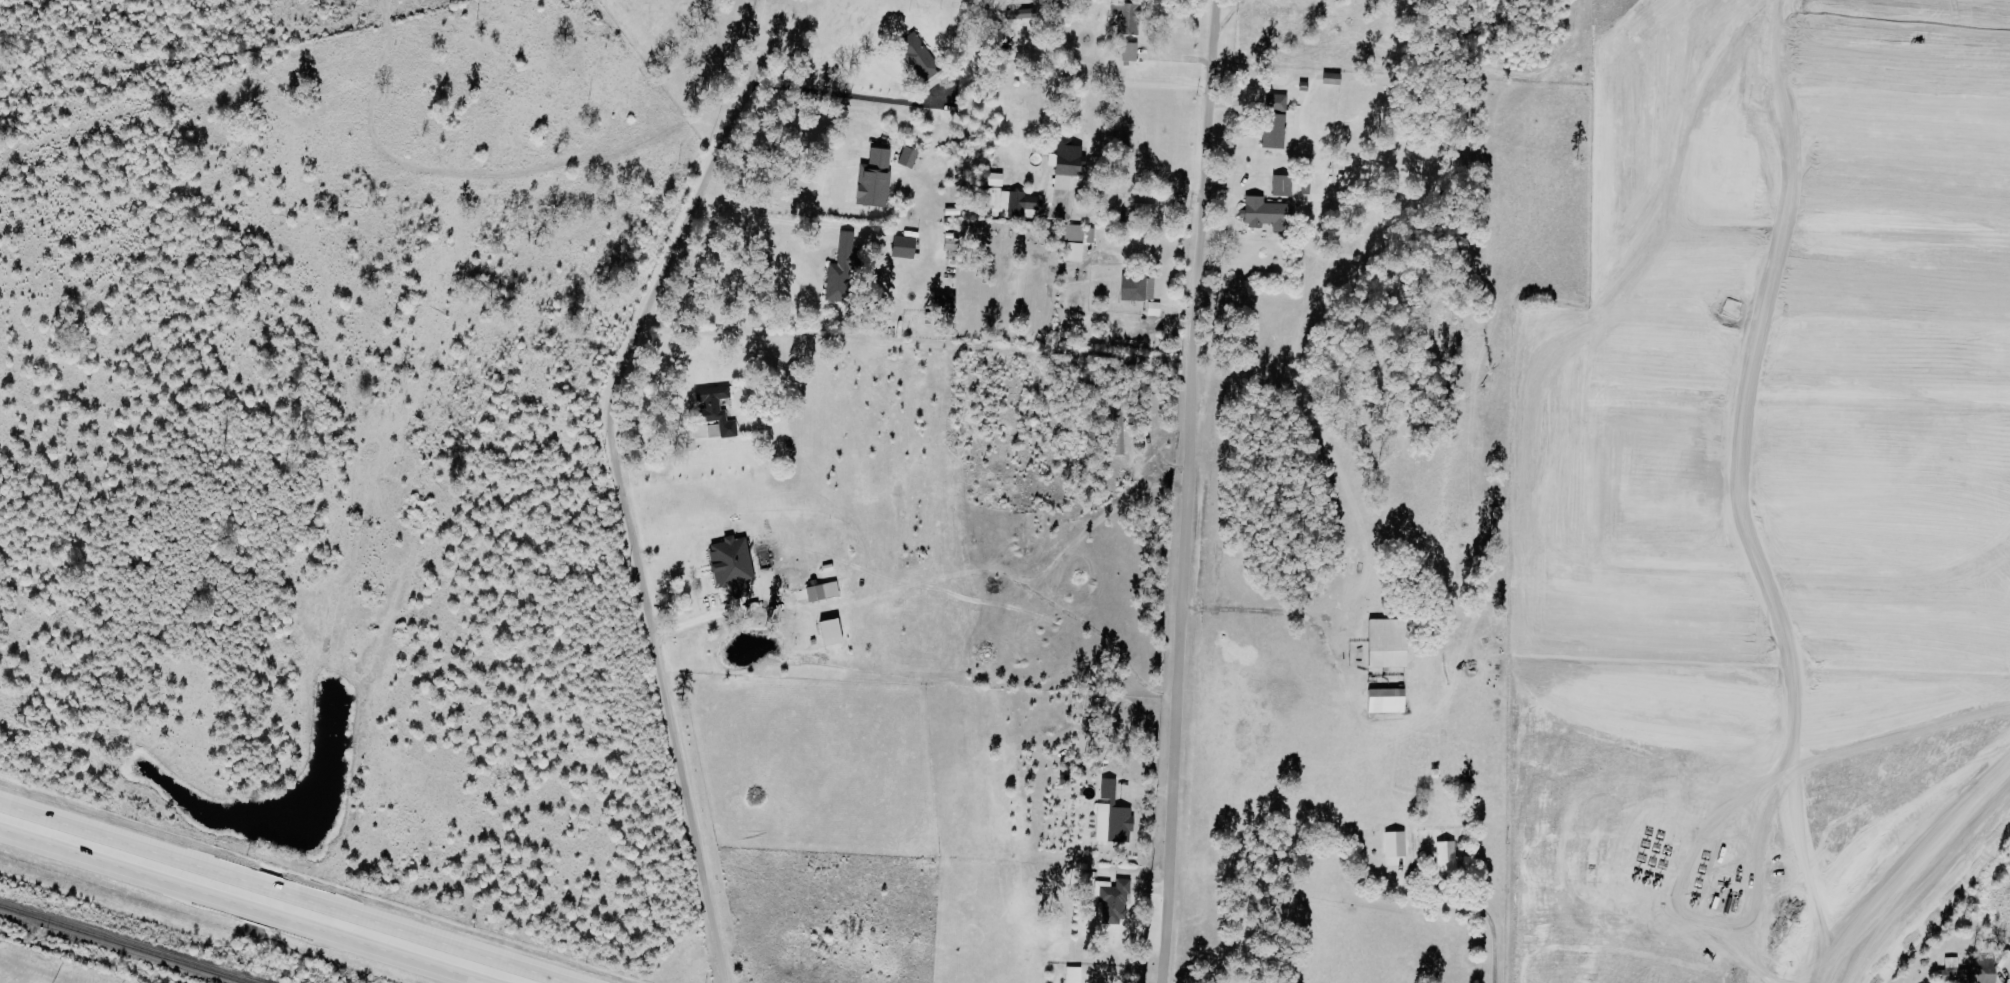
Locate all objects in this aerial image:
building: (1018, 15)
building: (1127, 18)
park: (682, 49)
building: (1130, 52)
building: (919, 56)
building: (1331, 79)
road: (1136, 84)
road: (835, 95)
building: (1275, 121)
building: (908, 156)
road: (793, 161)
building: (1066, 162)
building: (875, 178)
building: (996, 179)
building: (1283, 185)
road: (1143, 198)
building: (1020, 204)
building: (1146, 209)
building: (1268, 213)
road: (766, 224)
building: (1091, 235)
building: (1074, 242)
building: (904, 246)
building: (841, 269)
building: (1138, 288)
building: (947, 303)
building: (1154, 308)
building: (1734, 308)
building: (715, 411)
building: (1119, 432)
road: (1187, 491)
road: (1738, 493)
road: (629, 523)
building: (732, 564)
building: (823, 591)
road: (702, 618)
building: (832, 632)
building: (1389, 643)
building: (1388, 701)
building: (1109, 788)
building: (1114, 823)
building: (1396, 844)
building: (1447, 856)
road: (268, 894)
road: (1485, 916)
railway: (120, 945)
building: (1953, 964)
building: (1982, 970)
building: (1074, 974)

